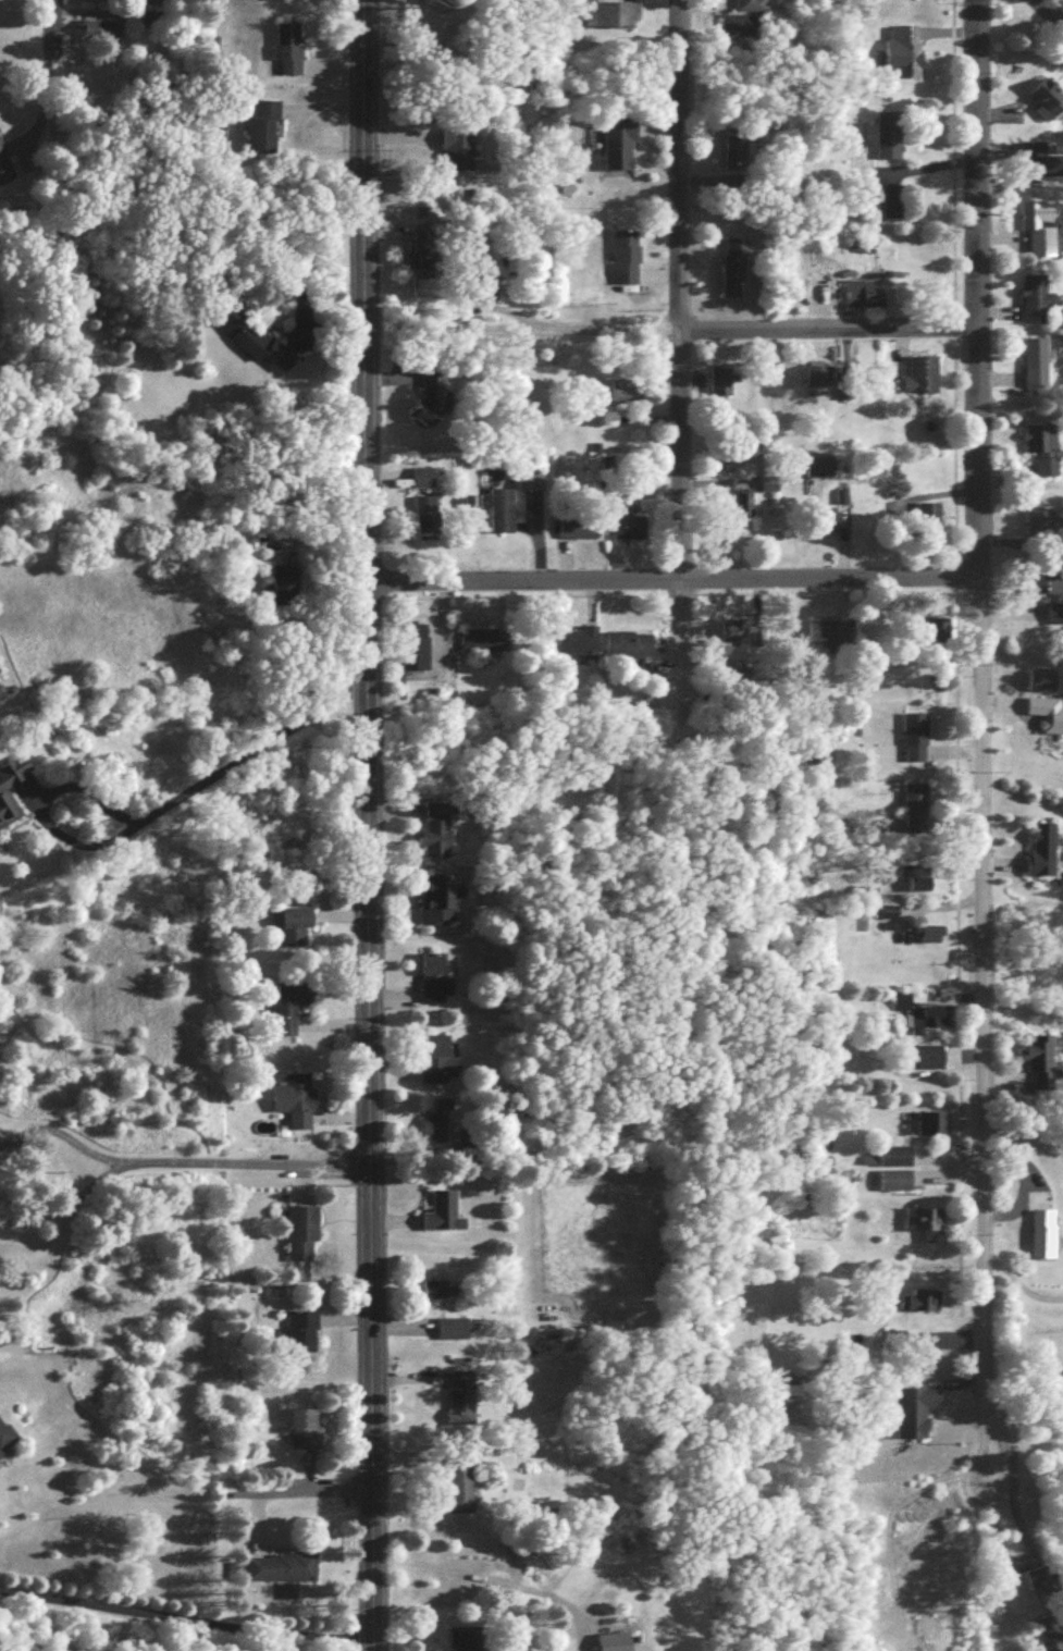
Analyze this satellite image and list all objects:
building: (465, 8)
building: (744, 9)
road: (1045, 17)
building: (605, 19)
road: (50, 29)
building: (737, 33)
building: (101, 37)
building: (289, 54)
building: (901, 57)
building: (1047, 106)
building: (263, 133)
building: (888, 144)
building: (619, 151)
building: (460, 152)
building: (734, 156)
building: (1036, 168)
building: (5, 172)
building: (1040, 234)
building: (428, 254)
building: (626, 258)
building: (733, 273)
building: (863, 299)
building: (1036, 305)
road: (764, 332)
building: (259, 346)
road: (676, 361)
building: (1036, 368)
building: (814, 380)
building: (922, 381)
building: (718, 386)
building: (842, 386)
building: (626, 397)
building: (434, 402)
building: (1042, 453)
building: (818, 472)
building: (425, 483)
building: (531, 486)
building: (503, 515)
building: (429, 522)
building: (826, 525)
building: (1041, 525)
building: (929, 526)
building: (578, 530)
building: (628, 532)
building: (1045, 581)
road: (827, 583)
road: (522, 587)
building: (288, 591)
building: (1054, 617)
building: (937, 636)
building: (827, 637)
building: (732, 639)
building: (480, 644)
building: (576, 646)
building: (626, 650)
building: (417, 657)
building: (1041, 686)
building: (1047, 718)
road: (977, 741)
building: (914, 742)
road: (238, 763)
road: (46, 796)
building: (8, 806)
building: (914, 813)
road: (369, 825)
building: (437, 835)
building: (1041, 854)
building: (916, 880)
road: (930, 904)
building: (438, 908)
building: (890, 917)
building: (296, 931)
building: (435, 983)
building: (287, 1014)
building: (920, 1017)
building: (437, 1060)
building: (928, 1062)
building: (1039, 1068)
building: (296, 1106)
building: (931, 1128)
building: (438, 1129)
building: (894, 1161)
road: (243, 1168)
road: (112, 1173)
building: (893, 1185)
building: (445, 1218)
building: (922, 1224)
building: (1043, 1239)
building: (302, 1240)
road: (1018, 1287)
building: (436, 1294)
building: (919, 1304)
building: (454, 1334)
building: (304, 1338)
building: (462, 1404)
building: (915, 1416)
building: (306, 1433)
building: (7, 1443)
building: (459, 1491)
road: (300, 1492)
road: (1009, 1496)
building: (283, 1573)
road: (185, 1615)
building: (1047, 1637)
building: (468, 1641)

